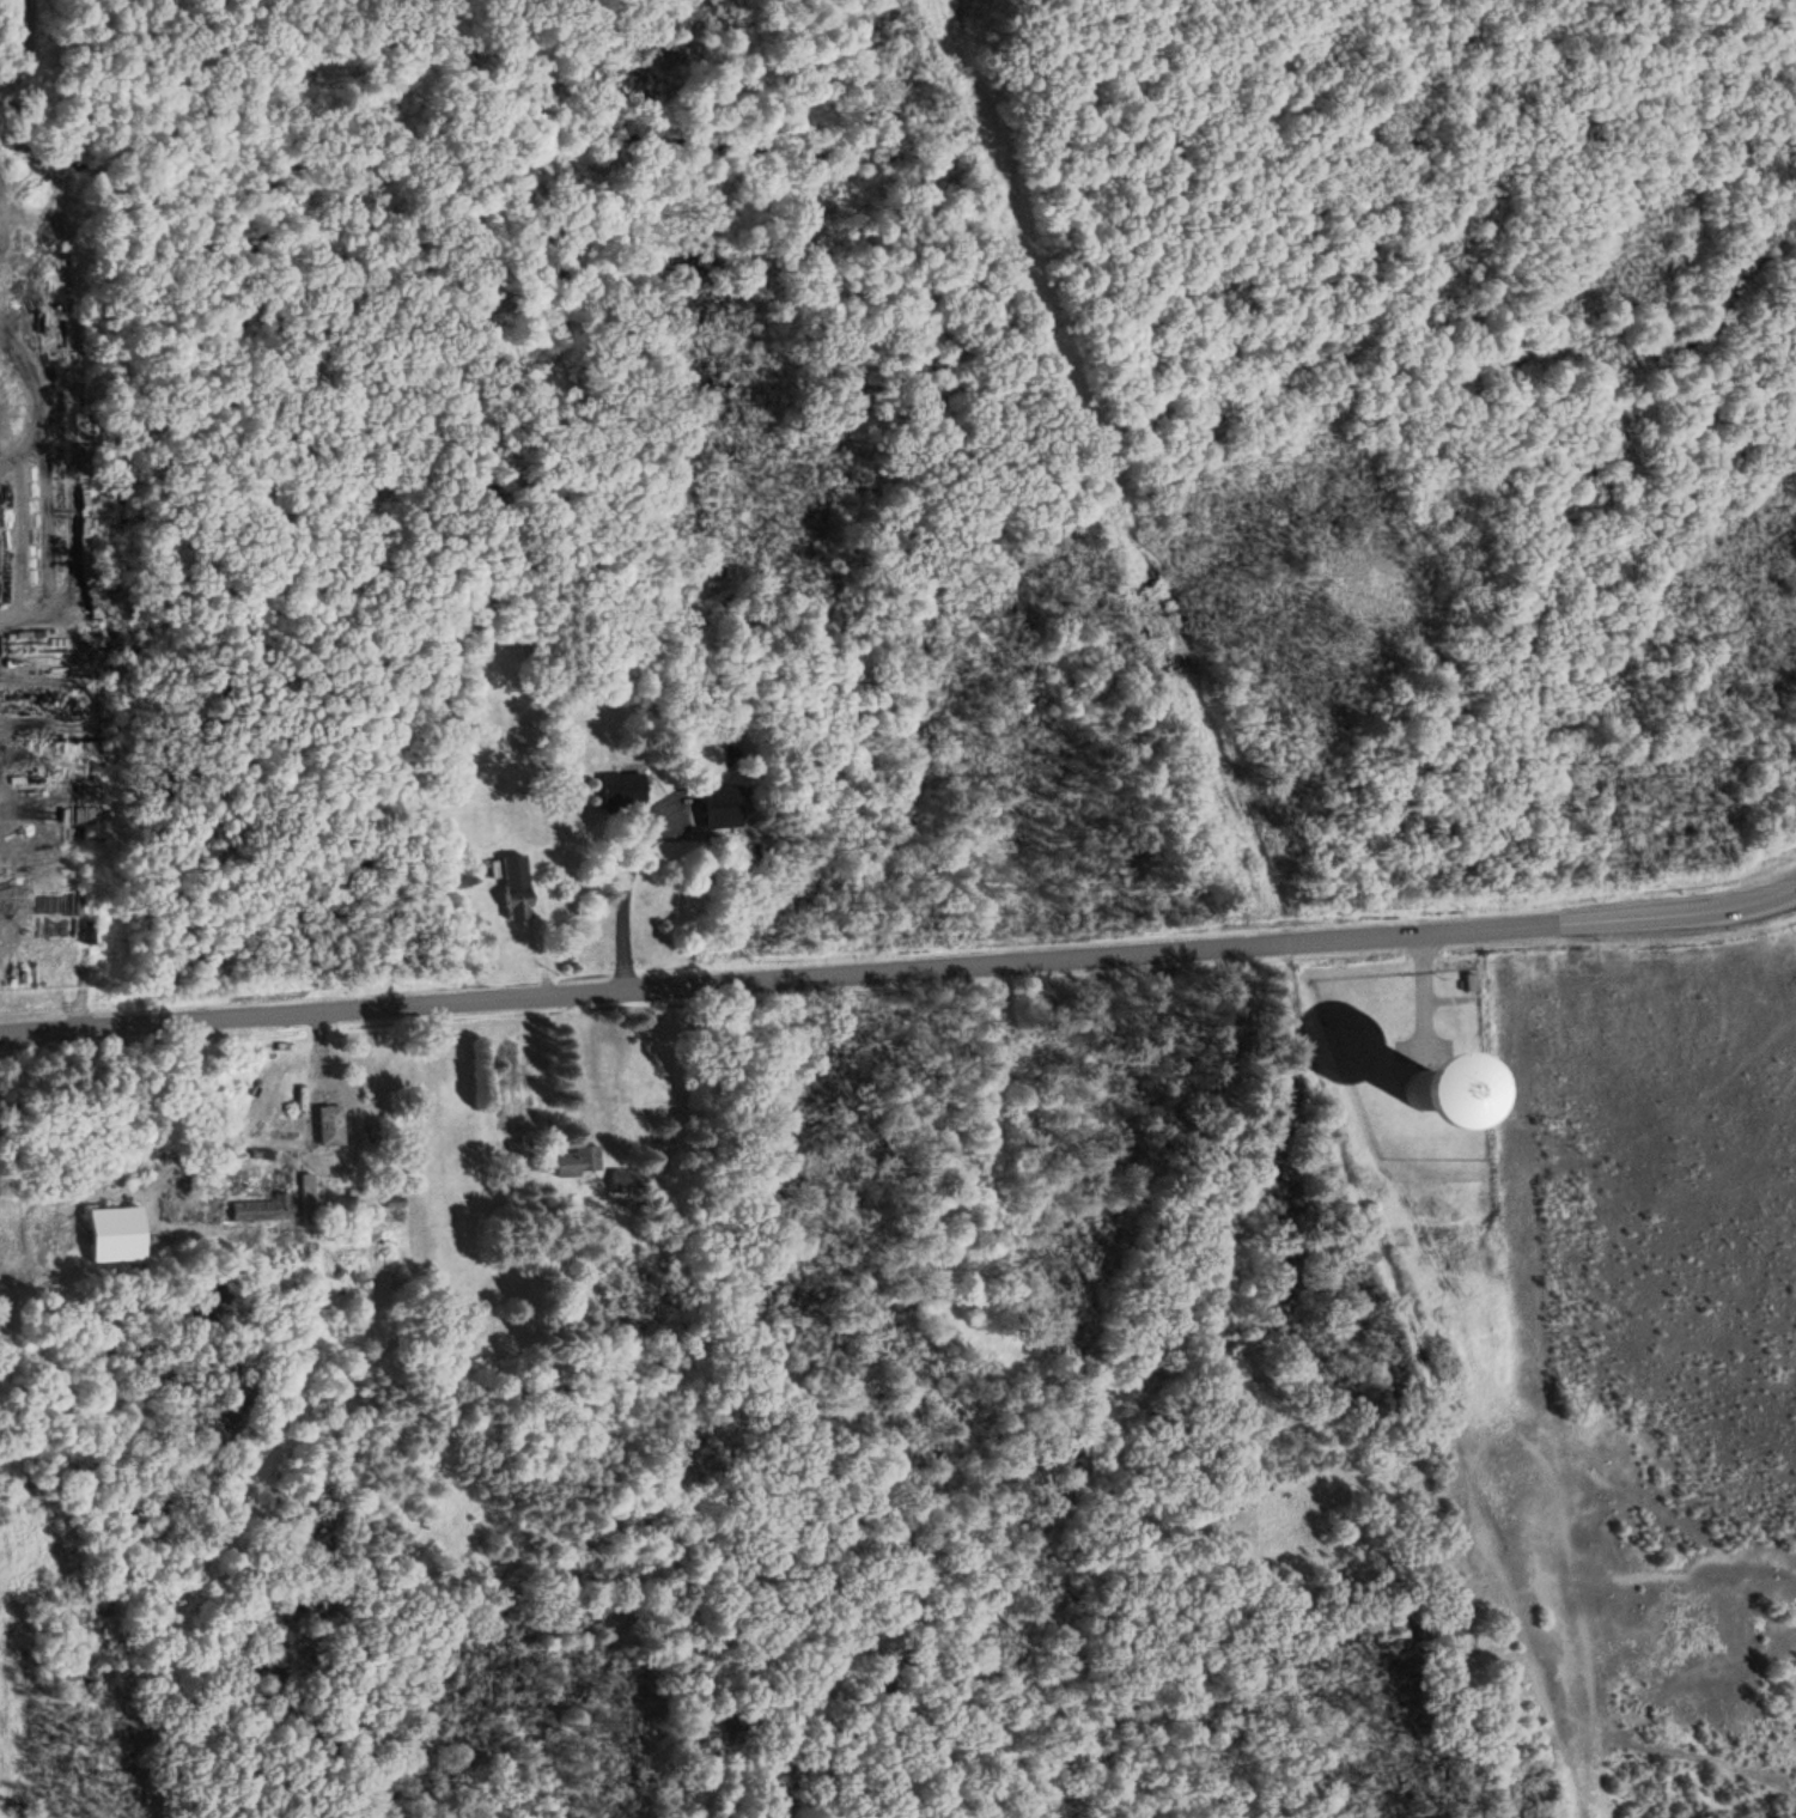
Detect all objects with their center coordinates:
building: (622, 788)
building: (720, 805)
building: (517, 887)
road: (899, 969)
building: (1436, 1098)
water tower: (1433, 1099)
building: (329, 1124)
building: (577, 1159)
park: (1424, 1176)
building: (280, 1178)
building: (261, 1204)
building: (114, 1232)
building: (246, 1506)

